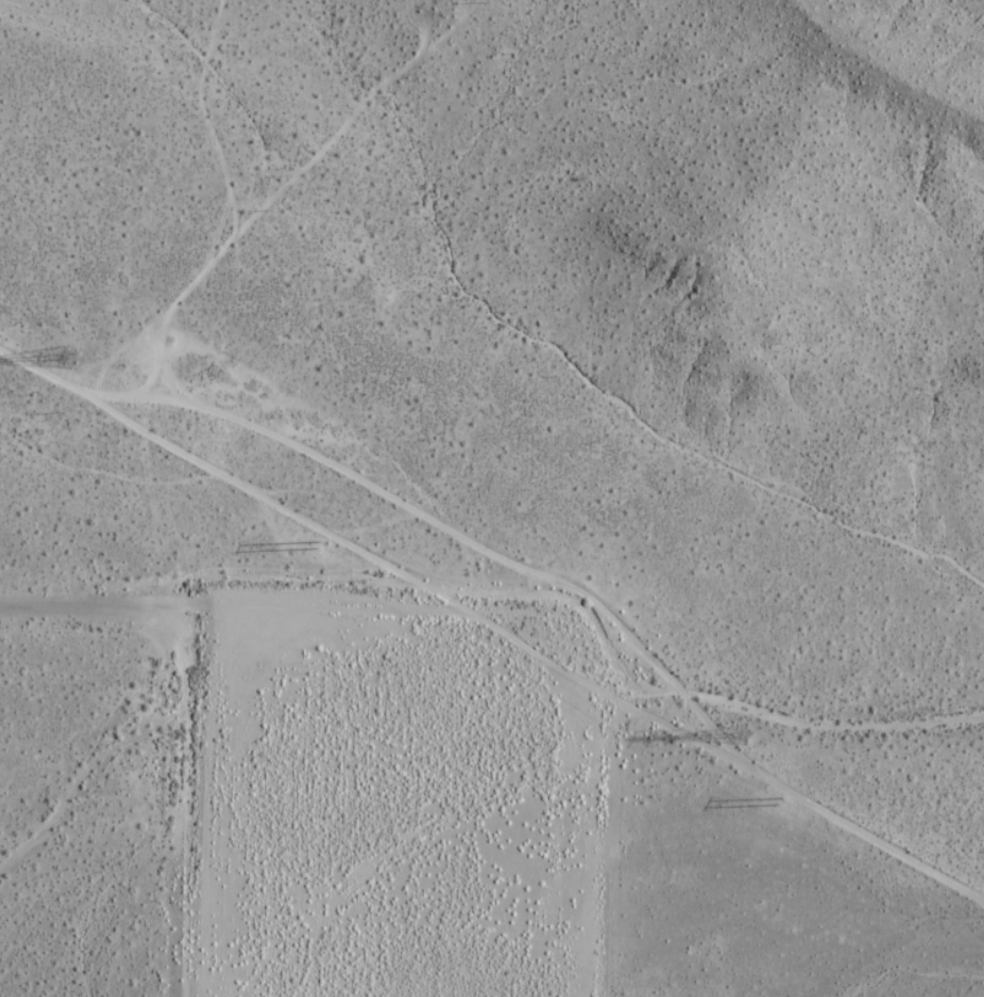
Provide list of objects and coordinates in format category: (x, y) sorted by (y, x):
power tower: (67, 350)
road: (447, 527)
power tower: (321, 539)
road: (378, 559)
road: (104, 601)
power tower: (747, 738)
power tower: (789, 802)
road: (870, 835)

